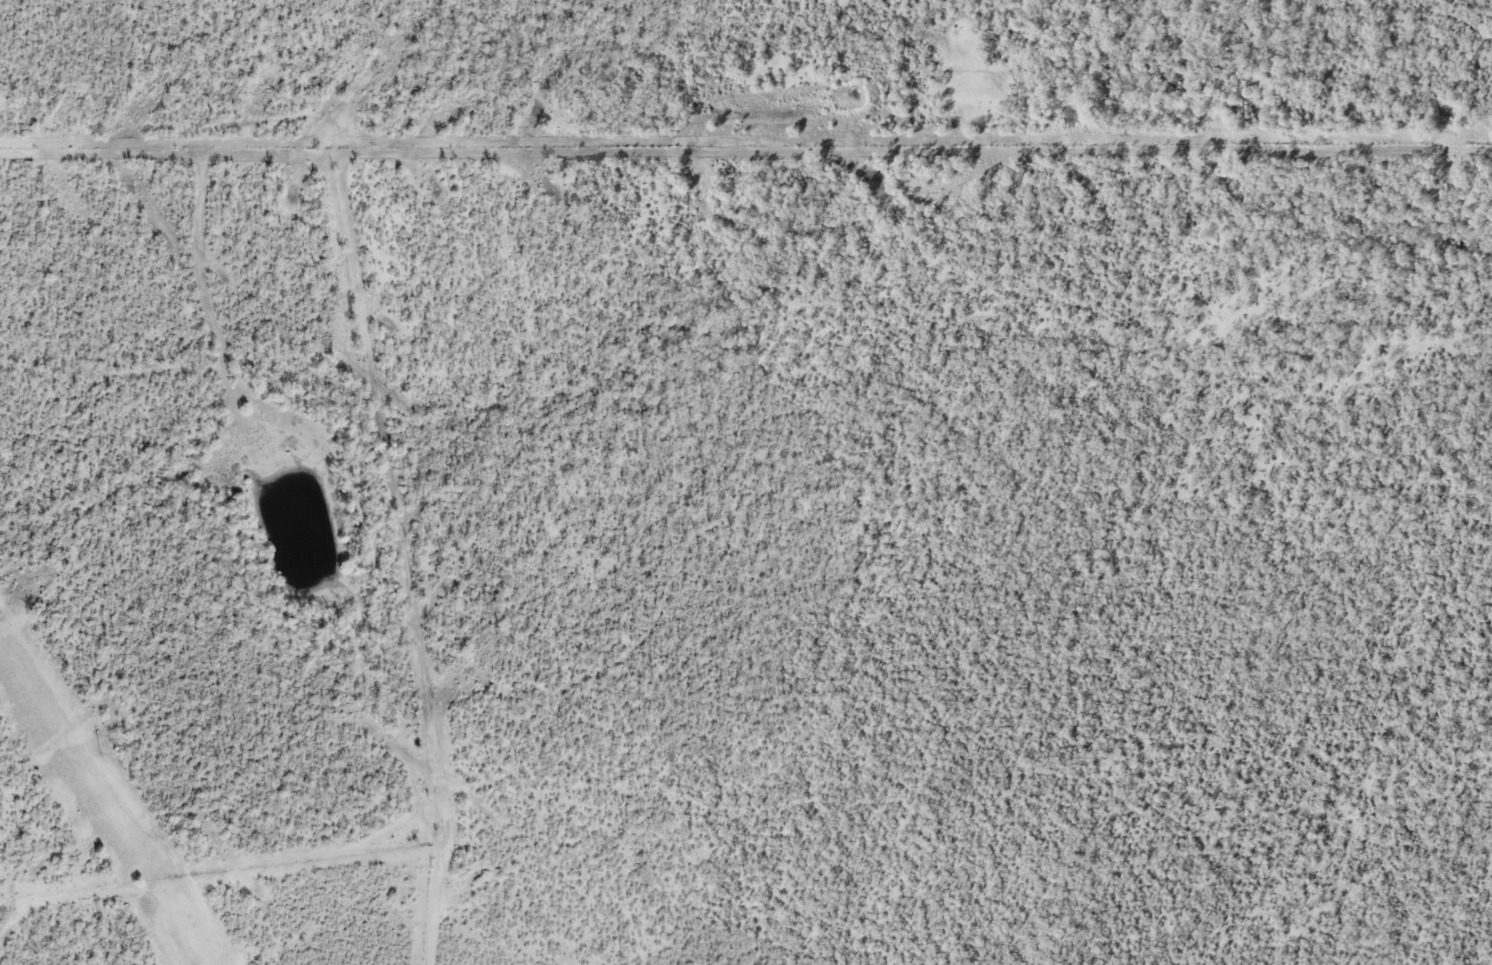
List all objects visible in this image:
power tower: (99, 751)

